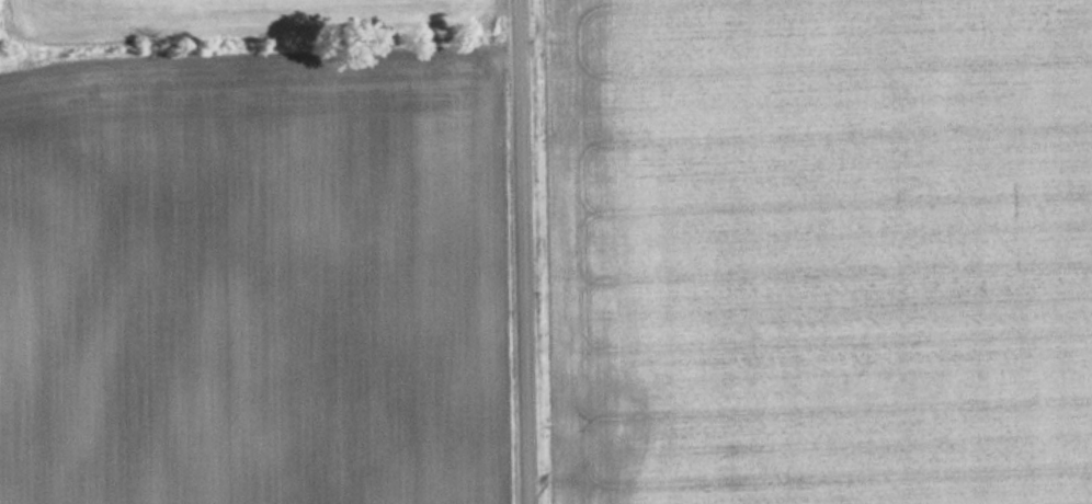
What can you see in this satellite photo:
road: (524, 252)

